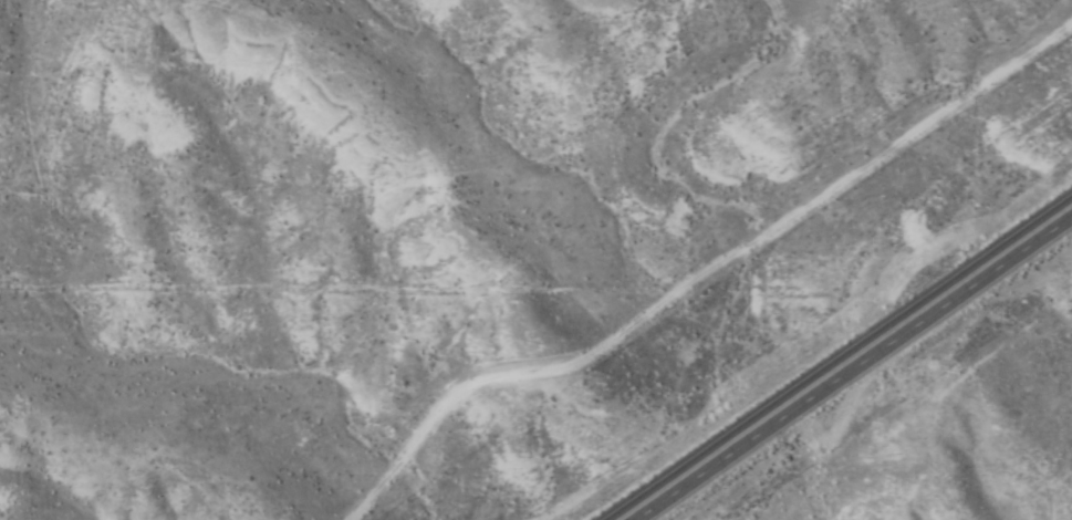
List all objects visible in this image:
road: (846, 365)
crop: (993, 470)

